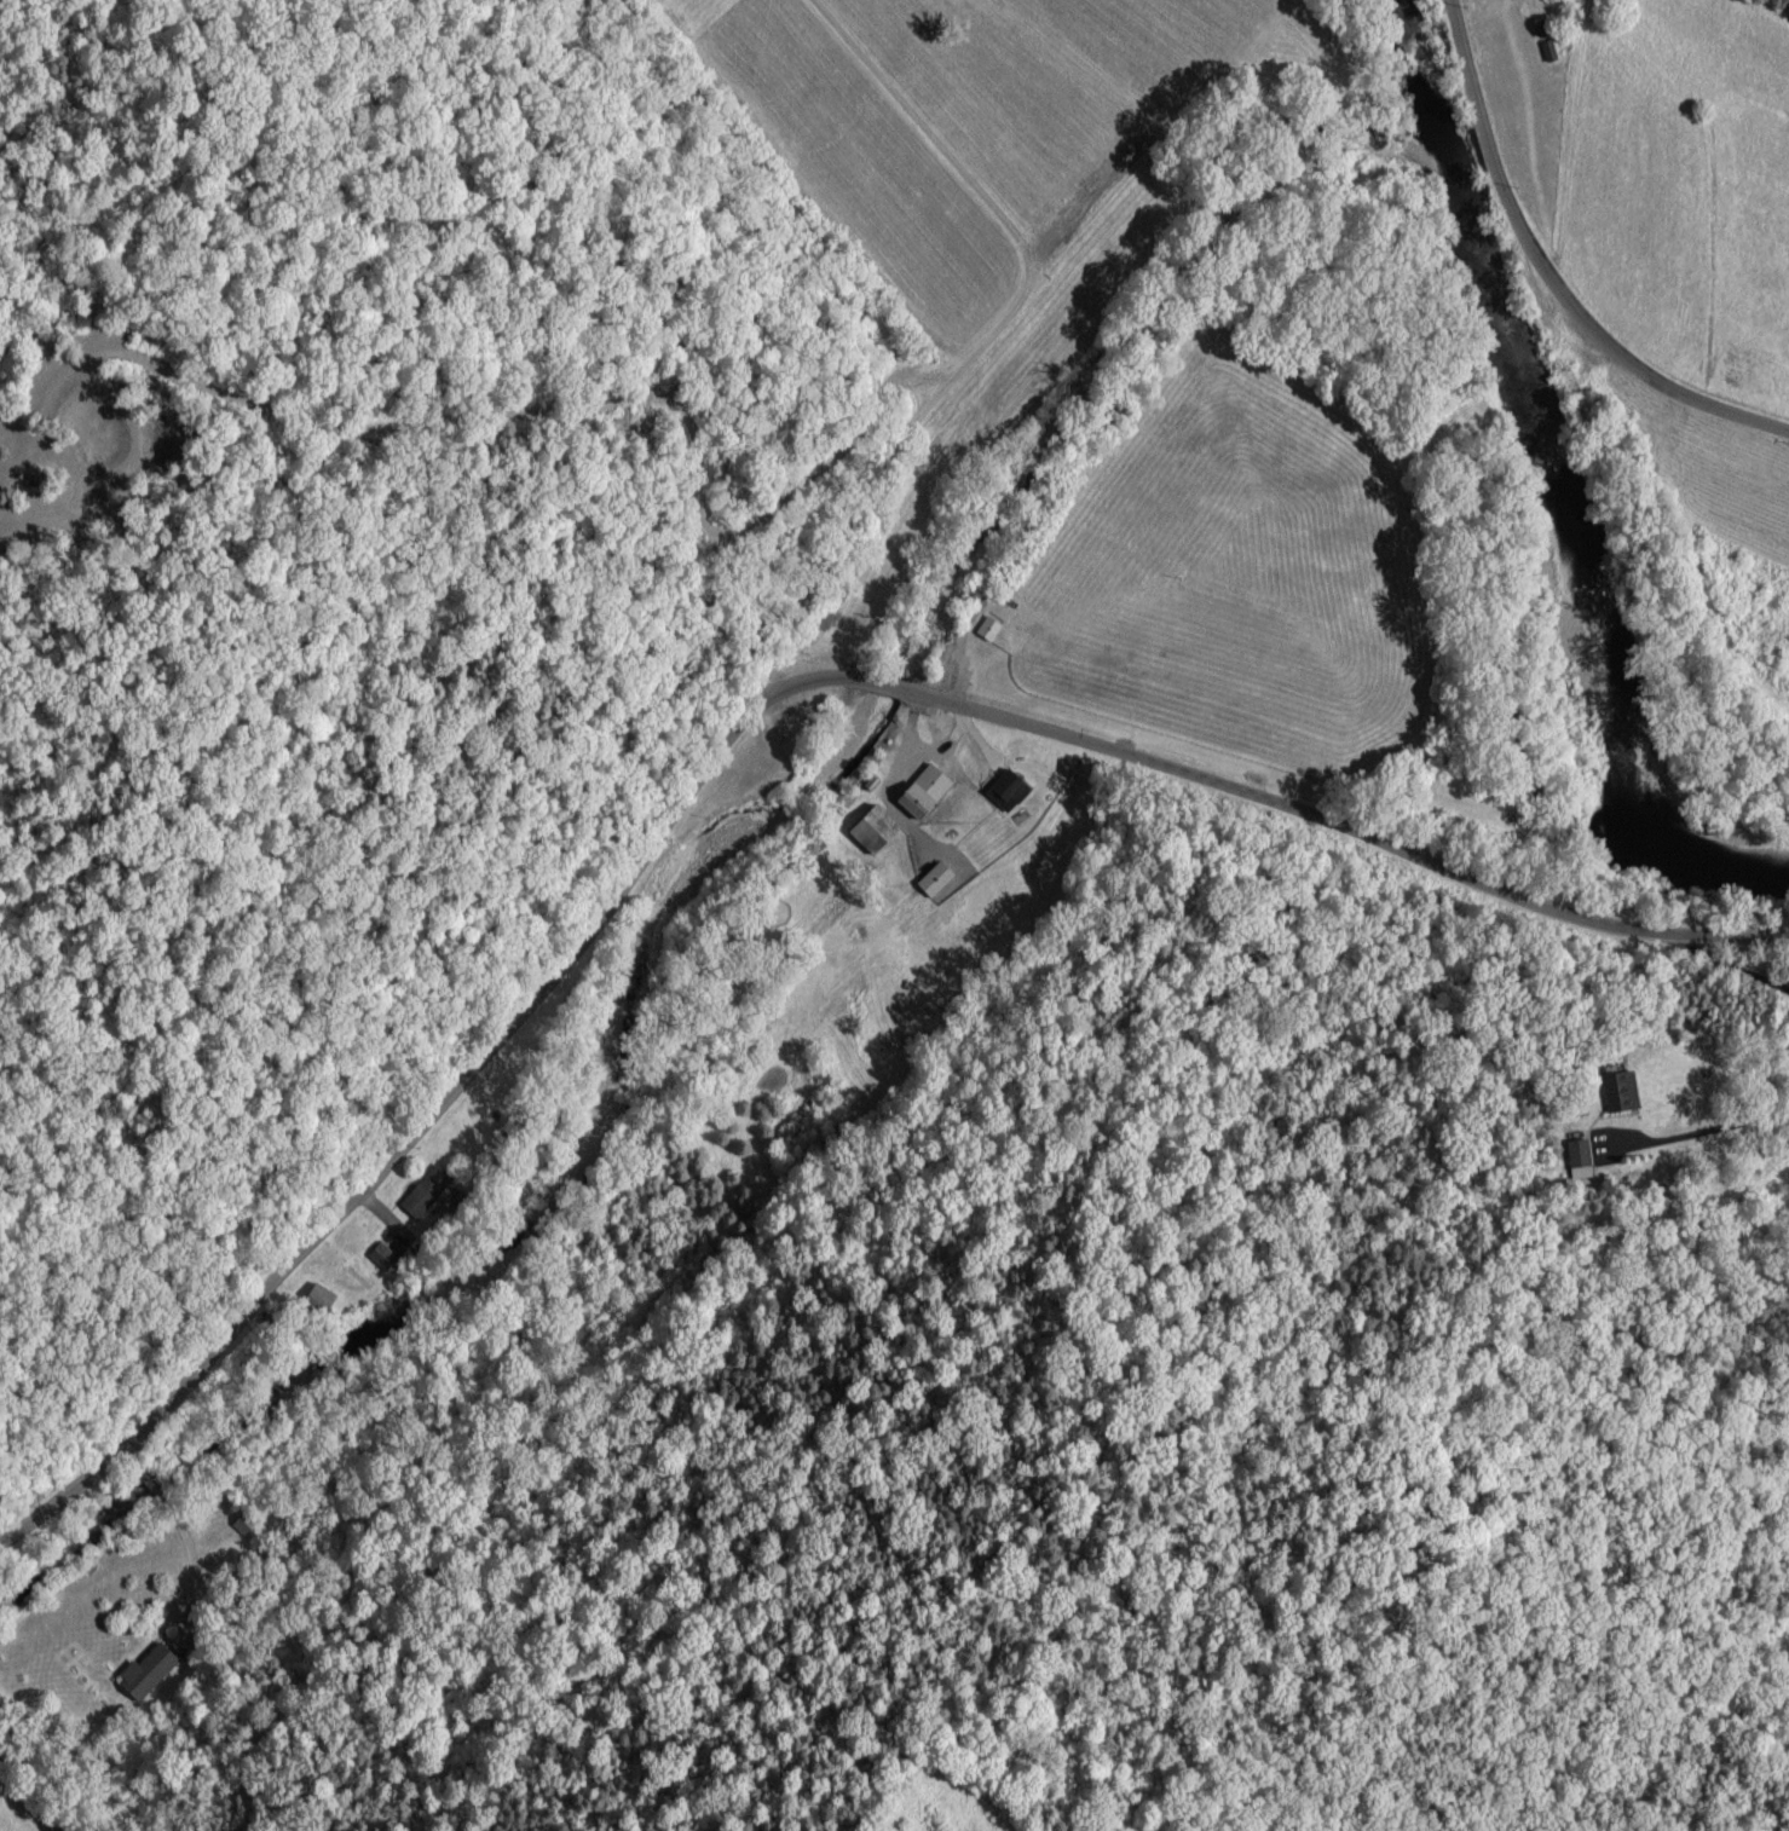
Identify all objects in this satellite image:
road: (1553, 277)
road: (884, 327)
river: (1562, 468)
building: (987, 630)
road: (728, 735)
building: (1008, 789)
building: (924, 793)
building: (873, 830)
building: (935, 880)
road: (1731, 964)
building: (1628, 1092)
road: (1696, 1121)
building: (1577, 1162)
building: (422, 1196)
building: (380, 1258)
building: (241, 1526)
road: (213, 1550)
building: (145, 1673)

